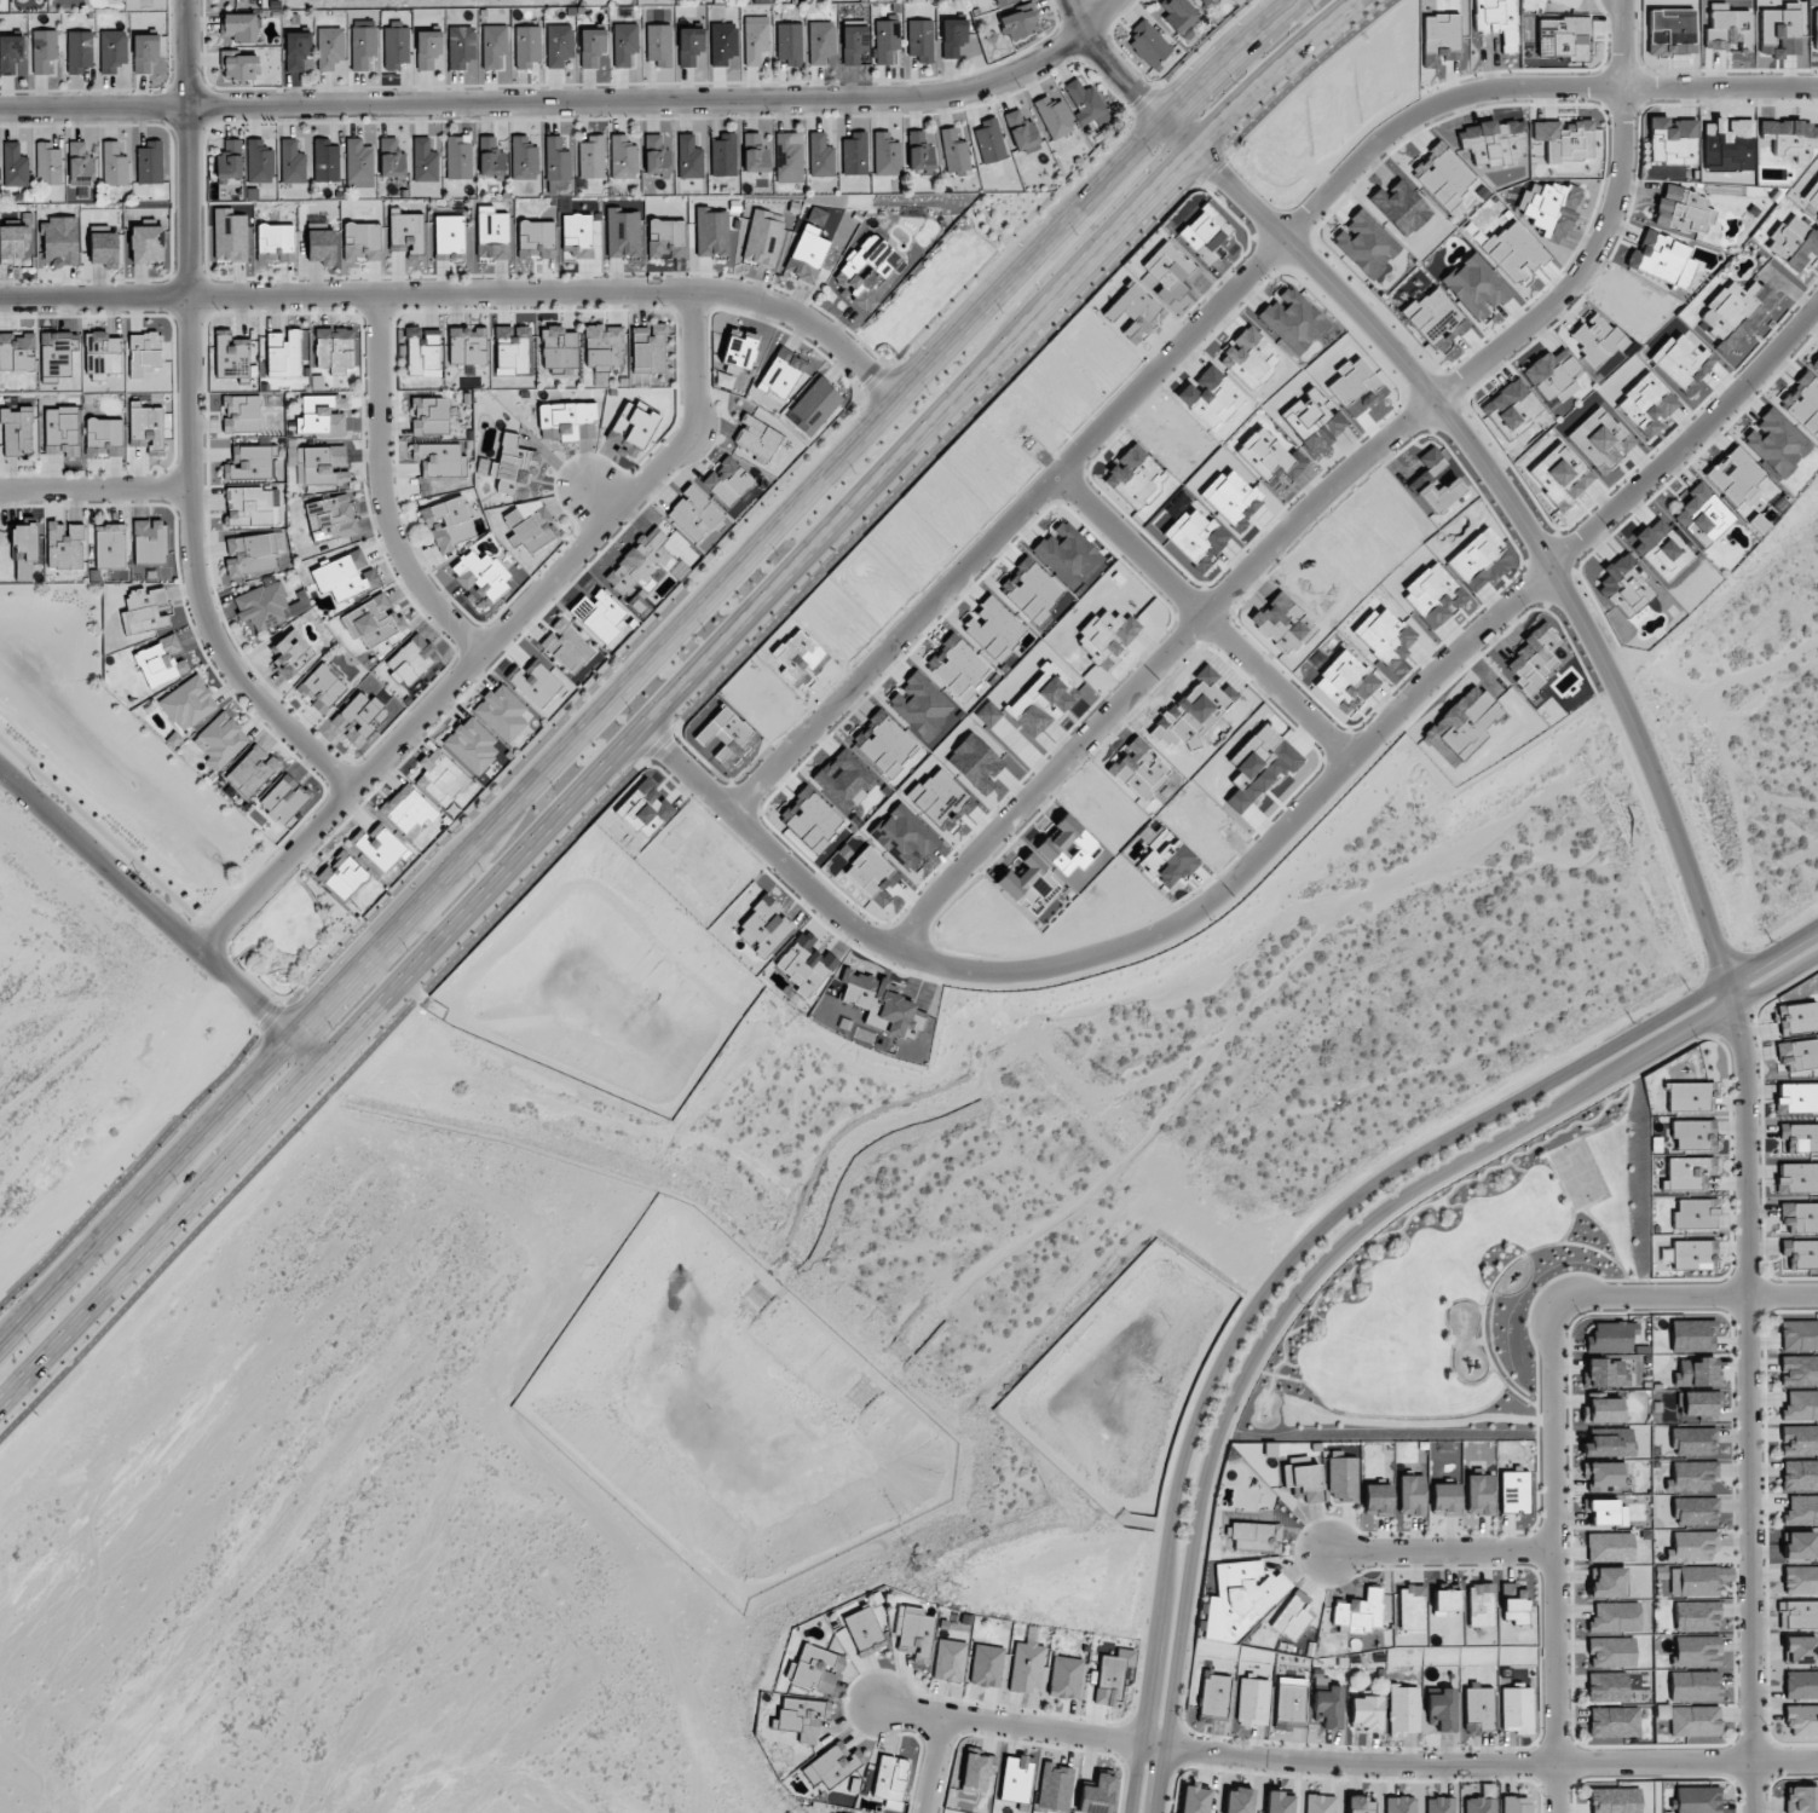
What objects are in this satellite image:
building: (761, 1)
building: (999, 1)
building: (1207, 2)
building: (1565, 2)
building: (1178, 15)
road: (1098, 16)
building: (1496, 21)
building: (1018, 22)
building: (239, 27)
building: (1814, 28)
building: (1727, 29)
building: (952, 36)
building: (919, 37)
building: (1562, 37)
building: (755, 39)
building: (885, 39)
building: (1441, 39)
building: (820, 41)
building: (790, 42)
building: (363, 44)
building: (623, 44)
building: (722, 44)
building: (853, 44)
building: (396, 45)
building: (559, 45)
building: (659, 45)
building: (688, 45)
building: (1149, 45)
building: (460, 46)
building: (527, 46)
building: (590, 46)
building: (329, 47)
building: (494, 47)
building: (427, 48)
building: (111, 50)
building: (79, 51)
building: (296, 51)
building: (44, 52)
building: (144, 52)
building: (10, 53)
building: (238, 65)
road: (1512, 85)
road: (1808, 88)
road: (1808, 92)
road: (548, 102)
building: (1086, 104)
building: (1054, 117)
building: (1020, 131)
building: (1790, 137)
building: (1564, 139)
building: (988, 140)
building: (1672, 140)
building: (1491, 142)
building: (918, 151)
building: (953, 151)
building: (754, 152)
building: (854, 152)
building: (722, 154)
building: (885, 154)
building: (820, 155)
building: (656, 156)
building: (590, 157)
building: (623, 157)
building: (688, 157)
building: (787, 157)
building: (391, 158)
building: (425, 158)
building: (457, 158)
building: (490, 158)
building: (523, 158)
building: (229, 160)
building: (325, 161)
building: (149, 162)
building: (259, 162)
building: (292, 162)
building: (47, 163)
building: (358, 163)
building: (555, 163)
building: (114, 164)
building: (13, 166)
building: (1441, 175)
building: (1812, 197)
building: (1683, 209)
building: (1551, 210)
building: (816, 216)
building: (491, 233)
building: (622, 233)
building: (711, 233)
building: (1204, 233)
building: (229, 235)
building: (406, 235)
building: (581, 236)
building: (449, 237)
building: (665, 237)
building: (763, 237)
building: (536, 239)
building: (59, 241)
building: (362, 241)
building: (15, 242)
building: (275, 242)
building: (1364, 243)
building: (146, 244)
building: (321, 247)
building: (103, 249)
building: (807, 254)
building: (867, 270)
building: (1168, 271)
building: (1474, 287)
road: (461, 294)
building: (1733, 313)
building: (1597, 339)
building: (604, 345)
building: (467, 346)
building: (559, 347)
building: (334, 348)
building: (648, 348)
building: (738, 348)
building: (17, 350)
building: (512, 350)
building: (58, 352)
building: (422, 352)
building: (144, 353)
building: (283, 353)
building: (102, 354)
building: (230, 354)
building: (1248, 357)
building: (1814, 363)
building: (781, 373)
building: (1552, 375)
building: (1802, 403)
building: (1647, 404)
building: (814, 405)
building: (242, 414)
building: (321, 415)
building: (429, 416)
building: (564, 418)
building: (1312, 421)
road: (187, 423)
building: (145, 426)
building: (631, 427)
building: (16, 431)
building: (60, 431)
road: (1689, 435)
building: (103, 437)
building: (757, 438)
building: (1600, 439)
building: (1776, 443)
building: (1269, 457)
building: (439, 460)
building: (248, 462)
building: (318, 464)
building: (512, 467)
building: (1563, 472)
building: (1735, 475)
building: (1135, 477)
building: (727, 480)
road: (94, 489)
road: (383, 490)
road: (1316, 495)
building: (250, 507)
building: (693, 513)
building: (1702, 515)
building: (330, 518)
building: (449, 522)
building: (527, 524)
road: (1003, 524)
building: (149, 542)
building: (64, 545)
building: (109, 545)
building: (23, 550)
building: (250, 554)
building: (639, 564)
building: (480, 574)
building: (344, 576)
building: (1623, 585)
building: (144, 596)
building: (267, 605)
building: (599, 614)
road: (1191, 618)
building: (143, 619)
building: (373, 620)
building: (1106, 634)
road: (494, 641)
building: (566, 646)
building: (290, 653)
building: (1533, 658)
building: (409, 659)
building: (160, 662)
road: (636, 663)
building: (535, 683)
building: (321, 687)
building: (187, 703)
road: (671, 703)
building: (501, 712)
building: (358, 717)
building: (219, 740)
building: (471, 745)
building: (250, 770)
building: (440, 776)
building: (283, 798)
road: (1666, 808)
building: (408, 810)
road: (108, 838)
building: (380, 847)
building: (341, 874)
building: (1029, 885)
road: (162, 918)
park: (288, 937)
road: (1125, 940)
building: (1796, 1017)
building: (1796, 1055)
building: (1689, 1097)
building: (1796, 1097)
building: (1692, 1134)
building: (1800, 1137)
building: (1685, 1173)
building: (1796, 1178)
building: (1695, 1214)
building: (1799, 1217)
road: (1304, 1243)
building: (1800, 1253)
building: (1692, 1254)
road: (1322, 1263)
park: (1455, 1286)
road: (1685, 1298)
building: (1692, 1335)
building: (1799, 1335)
building: (1610, 1336)
building: (1799, 1370)
building: (1696, 1372)
building: (1604, 1373)
building: (1698, 1403)
building: (1800, 1405)
building: (1604, 1410)
building: (1693, 1440)
building: (1799, 1440)
building: (1609, 1444)
building: (1603, 1476)
building: (1800, 1476)
building: (1691, 1477)
building: (1341, 1479)
building: (1303, 1480)
building: (1513, 1491)
building: (1478, 1492)
building: (1410, 1495)
building: (1445, 1499)
building: (1377, 1500)
building: (1801, 1509)
building: (1695, 1511)
building: (1606, 1513)
building: (1254, 1536)
building: (1693, 1544)
building: (1799, 1546)
building: (1609, 1547)
road: (1439, 1549)
road: (1554, 1563)
building: (1800, 1580)
building: (1695, 1581)
building: (1608, 1582)
building: (1240, 1598)
building: (1443, 1601)
building: (1512, 1603)
building: (1478, 1605)
building: (1410, 1607)
building: (1357, 1612)
building: (1801, 1613)
building: (1292, 1616)
building: (1696, 1616)
building: (1615, 1617)
building: (914, 1632)
building: (1800, 1650)
building: (1611, 1651)
building: (1696, 1651)
building: (948, 1661)
building: (986, 1665)
building: (1026, 1665)
building: (816, 1668)
building: (1110, 1675)
building: (1066, 1678)
building: (1801, 1685)
building: (1693, 1686)
building: (1608, 1687)
building: (1252, 1702)
building: (1289, 1703)
building: (1328, 1707)
building: (1442, 1709)
building: (1477, 1709)
building: (1403, 1710)
building: (1516, 1710)
building: (1366, 1713)
building: (798, 1717)
building: (1801, 1720)
building: (1614, 1721)
building: (1693, 1721)
road: (1345, 1761)
road: (934, 1763)
building: (829, 1765)
building: (976, 1769)
building: (1015, 1778)
building: (890, 1779)
building: (1054, 1786)
building: (1096, 1794)
building: (1194, 1800)
building: (1614, 1800)
building: (1697, 1800)
building: (1800, 1800)
building: (1237, 1801)
building: (1279, 1802)
building: (1320, 1803)
building: (1358, 1805)
building: (1399, 1805)
building: (1439, 1805)
building: (1479, 1805)
building: (1516, 1805)

